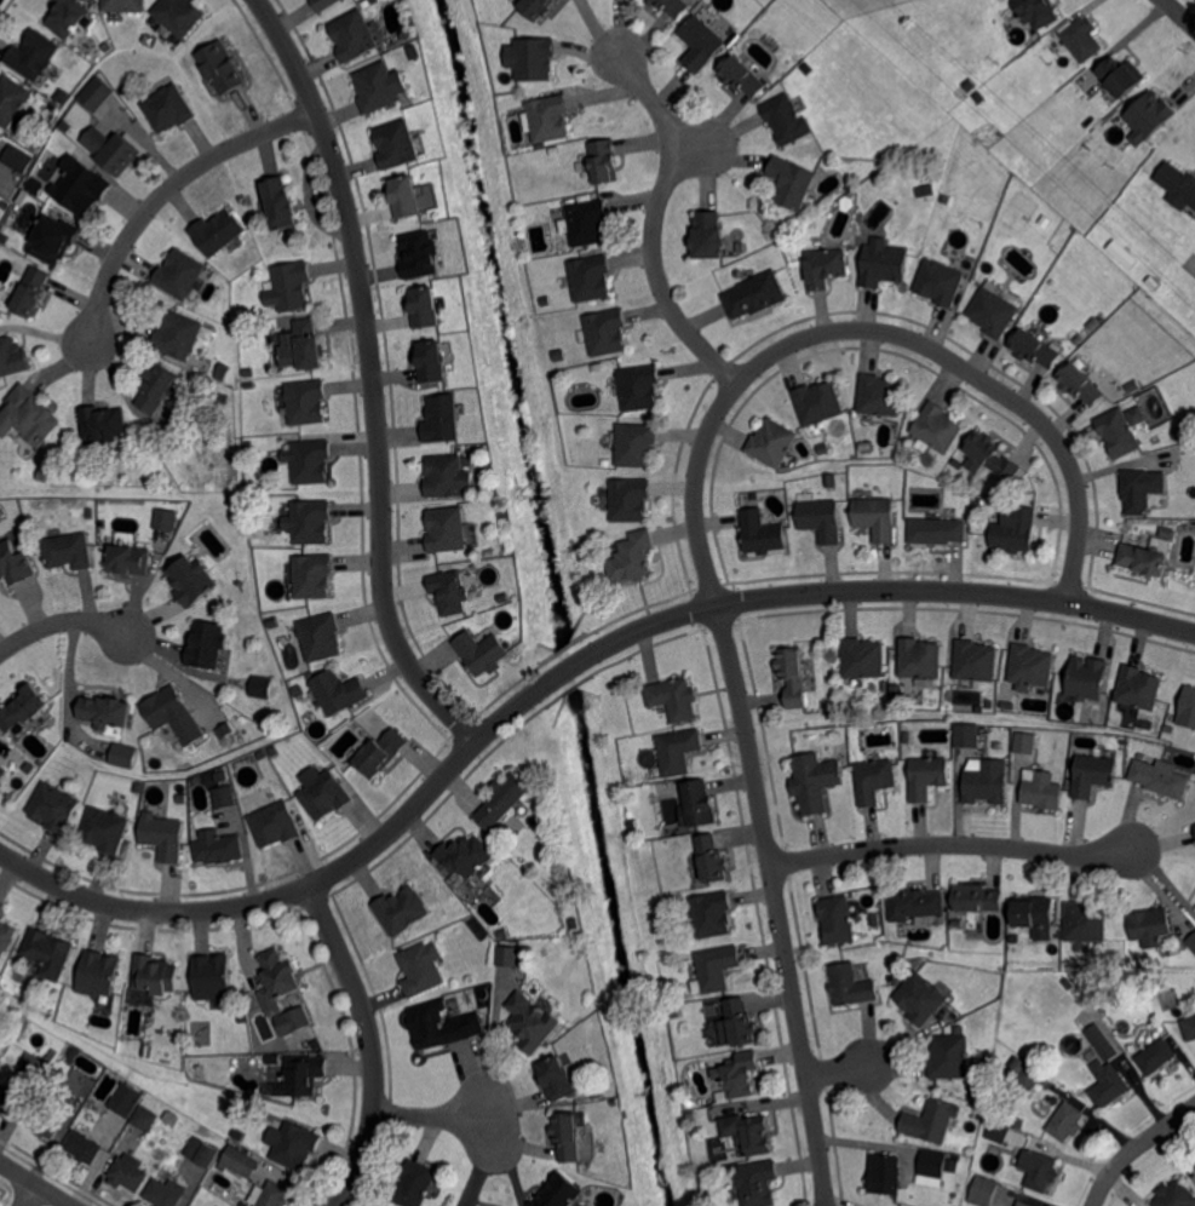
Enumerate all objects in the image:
building: (373, 0)
building: (323, 2)
building: (120, 5)
building: (536, 6)
building: (672, 6)
building: (1038, 11)
road: (1179, 12)
building: (177, 15)
building: (64, 16)
building: (407, 34)
building: (355, 35)
building: (1085, 40)
building: (701, 41)
building: (814, 42)
building: (415, 52)
building: (33, 54)
building: (821, 56)
building: (533, 57)
building: (219, 65)
building: (741, 75)
building: (1125, 77)
building: (378, 86)
building: (96, 94)
building: (1067, 94)
building: (12, 99)
building: (981, 99)
building: (170, 107)
building: (550, 116)
building: (787, 117)
building: (1151, 117)
building: (67, 127)
building: (397, 143)
building: (111, 149)
building: (16, 157)
building: (604, 159)
building: (954, 168)
building: (80, 182)
building: (791, 183)
building: (1178, 183)
building: (35, 185)
building: (926, 190)
road: (160, 195)
building: (407, 195)
building: (281, 202)
building: (4, 205)
building: (846, 205)
building: (588, 222)
road: (653, 222)
building: (216, 232)
building: (708, 235)
building: (4, 237)
building: (52, 239)
building: (1121, 252)
building: (423, 254)
building: (1068, 254)
building: (883, 262)
building: (825, 265)
building: (179, 274)
building: (739, 274)
building: (591, 276)
building: (979, 277)
building: (940, 281)
building: (289, 285)
building: (29, 291)
building: (753, 294)
building: (425, 305)
building: (993, 311)
building: (607, 331)
building: (177, 337)
building: (300, 346)
building: (1034, 346)
building: (561, 355)
building: (11, 356)
building: (433, 360)
building: (248, 373)
road: (372, 380)
building: (1080, 383)
building: (639, 385)
building: (248, 386)
building: (157, 387)
building: (878, 394)
building: (223, 398)
building: (306, 400)
building: (816, 401)
building: (1134, 414)
building: (27, 418)
building: (442, 419)
building: (100, 424)
building: (937, 426)
building: (1118, 431)
building: (1179, 432)
building: (770, 441)
building: (636, 443)
building: (866, 444)
building: (823, 448)
building: (992, 454)
building: (308, 460)
building: (607, 463)
building: (155, 472)
building: (447, 475)
building: (829, 478)
building: (1142, 488)
building: (630, 498)
building: (976, 500)
building: (254, 510)
building: (90, 513)
building: (875, 515)
building: (818, 517)
building: (163, 519)
building: (309, 522)
road: (696, 527)
building: (447, 528)
building: (1012, 528)
building: (935, 529)
building: (759, 530)
building: (1167, 533)
building: (67, 551)
building: (633, 557)
building: (1144, 557)
building: (126, 559)
building: (15, 563)
building: (311, 574)
building: (191, 579)
building: (449, 592)
road: (818, 592)
building: (274, 622)
road: (64, 627)
building: (318, 637)
building: (208, 643)
building: (483, 650)
building: (861, 657)
building: (918, 659)
building: (975, 661)
building: (1029, 666)
building: (792, 676)
building: (1087, 678)
building: (260, 687)
building: (1139, 689)
building: (338, 691)
building: (839, 691)
building: (897, 696)
building: (674, 699)
building: (988, 703)
building: (1004, 706)
building: (22, 707)
building: (1188, 707)
building: (107, 710)
building: (979, 710)
building: (173, 716)
building: (1168, 729)
building: (225, 733)
building: (966, 736)
building: (907, 737)
building: (1024, 742)
building: (274, 751)
building: (678, 751)
building: (380, 754)
building: (262, 756)
building: (121, 757)
building: (23, 762)
building: (1, 771)
building: (1092, 775)
building: (222, 776)
building: (926, 777)
building: (1160, 779)
building: (814, 781)
building: (873, 781)
building: (986, 782)
building: (139, 787)
building: (1042, 791)
building: (327, 794)
building: (225, 797)
building: (502, 798)
building: (182, 799)
building: (700, 803)
building: (53, 809)
building: (1194, 825)
building: (275, 826)
building: (104, 829)
building: (165, 835)
road: (952, 844)
building: (220, 849)
building: (464, 854)
building: (711, 858)
building: (976, 897)
road: (260, 900)
building: (914, 903)
building: (0, 908)
building: (404, 911)
building: (1034, 912)
building: (712, 914)
building: (838, 919)
building: (875, 919)
building: (958, 923)
building: (1085, 923)
building: (573, 924)
building: (1154, 928)
building: (502, 934)
building: (5, 937)
building: (1015, 938)
building: (1191, 942)
building: (48, 952)
building: (509, 957)
building: (421, 969)
building: (716, 969)
building: (281, 974)
building: (98, 975)
building: (156, 975)
building: (214, 977)
building: (851, 986)
building: (484, 990)
building: (1153, 992)
building: (920, 999)
building: (294, 1018)
building: (532, 1021)
building: (736, 1023)
building: (438, 1026)
building: (1189, 1029)
building: (254, 1032)
building: (293, 1041)
road: (372, 1041)
building: (1102, 1043)
building: (148, 1049)
building: (950, 1056)
building: (51, 1058)
building: (1156, 1058)
building: (274, 1059)
building: (35, 1067)
road: (838, 1070)
building: (1023, 1073)
building: (737, 1074)
building: (304, 1076)
building: (556, 1079)
building: (80, 1082)
building: (1108, 1084)
building: (596, 1093)
building: (126, 1099)
building: (8, 1101)
road: (433, 1113)
building: (172, 1118)
building: (145, 1119)
building: (45, 1121)
building: (931, 1122)
building: (1065, 1122)
building: (1019, 1124)
building: (748, 1133)
building: (998, 1133)
building: (567, 1137)
building: (297, 1147)
road: (1134, 1147)
building: (84, 1149)
building: (718, 1149)
building: (202, 1153)
building: (1194, 1158)
building: (240, 1161)
building: (933, 1164)
building: (731, 1167)
building: (1039, 1170)
building: (128, 1173)
building: (884, 1176)
road: (36, 1183)
building: (756, 1184)
building: (415, 1185)
building: (983, 1190)
building: (165, 1193)
building: (558, 1193)
road: (33, 1195)
building: (274, 1195)
building: (1176, 1195)
building: (1024, 1204)

